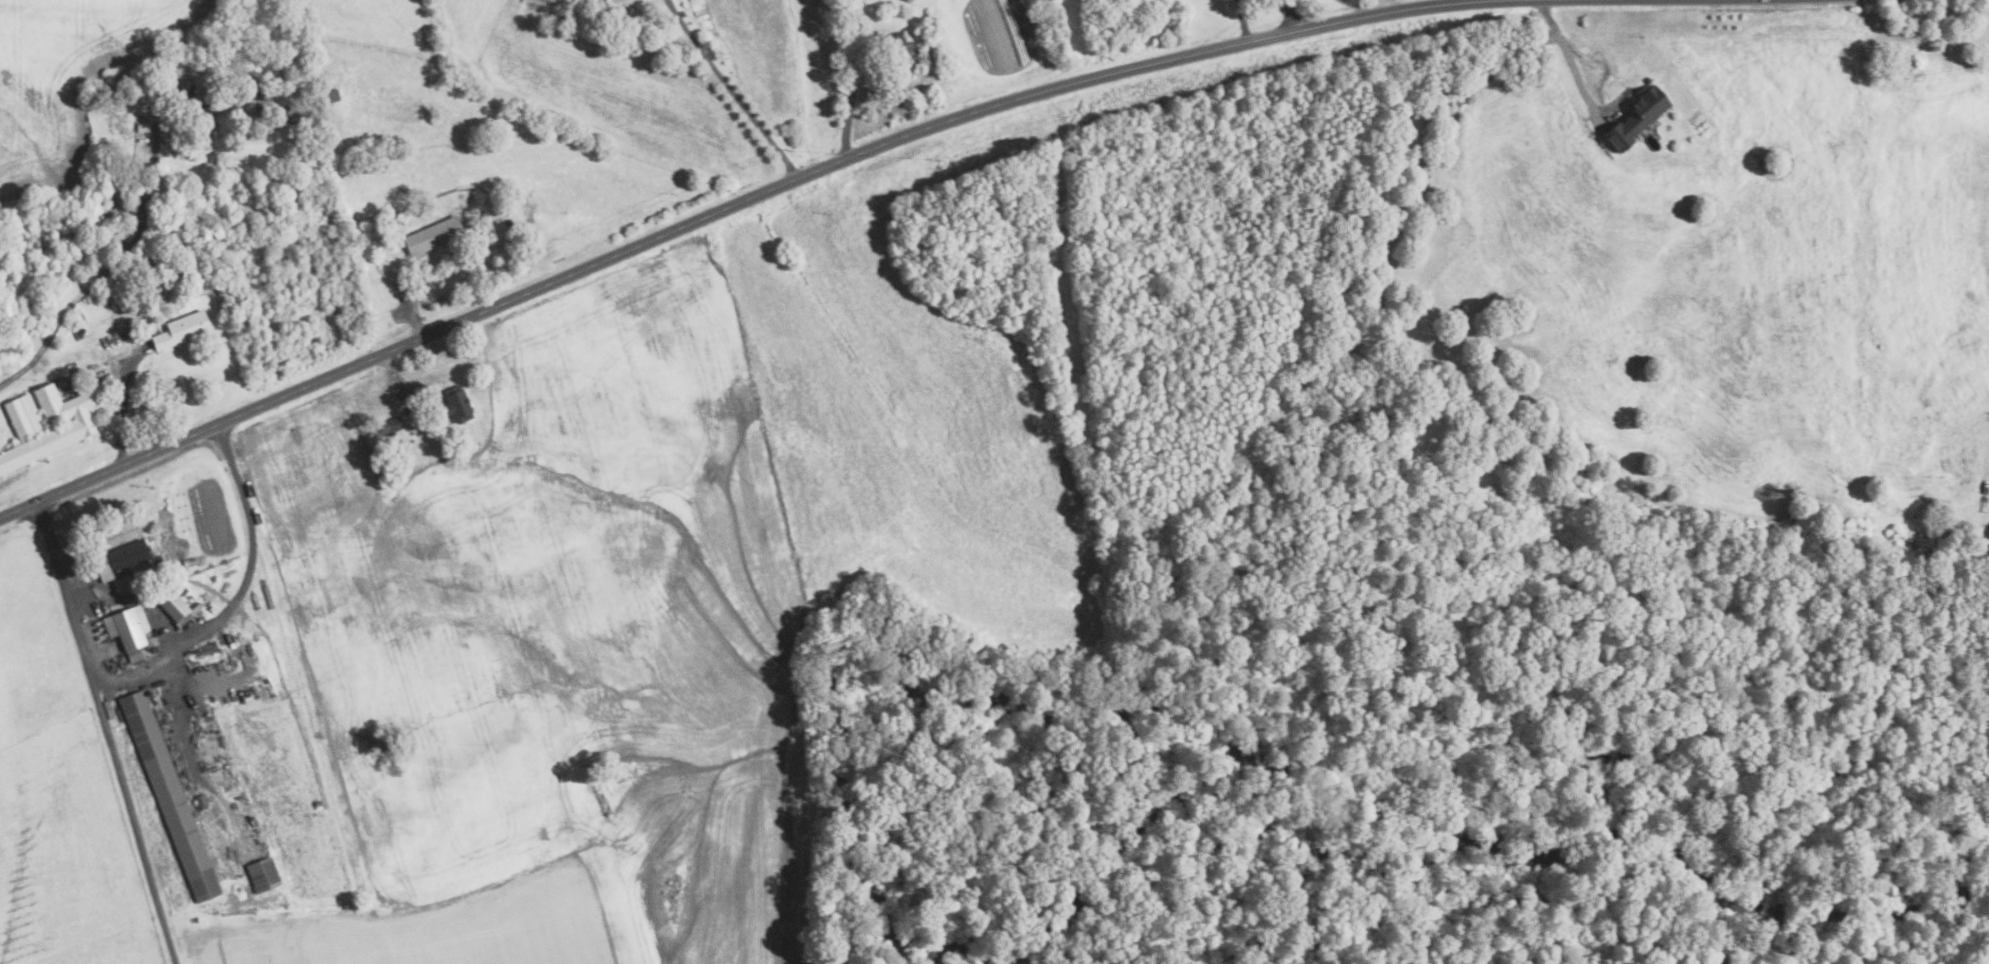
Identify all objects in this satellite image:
road: (1394, 4)
building: (619, 5)
road: (1358, 7)
road: (1290, 15)
road: (1241, 20)
road: (1572, 49)
building: (902, 53)
road: (851, 79)
road: (729, 89)
building: (261, 90)
building: (160, 93)
building: (331, 95)
building: (189, 98)
building: (260, 108)
building: (281, 115)
building: (1636, 117)
building: (141, 127)
road: (710, 211)
building: (432, 235)
road: (108, 269)
road: (410, 308)
building: (180, 328)
road: (393, 377)
building: (86, 384)
building: (74, 386)
building: (455, 403)
road: (122, 407)
building: (46, 423)
building: (392, 426)
building: (149, 545)
building: (158, 559)
building: (118, 560)
building: (121, 585)
building: (180, 588)
building: (175, 608)
building: (126, 630)
road: (170, 652)
road: (181, 715)
building: (168, 797)
road: (132, 821)
building: (263, 875)

